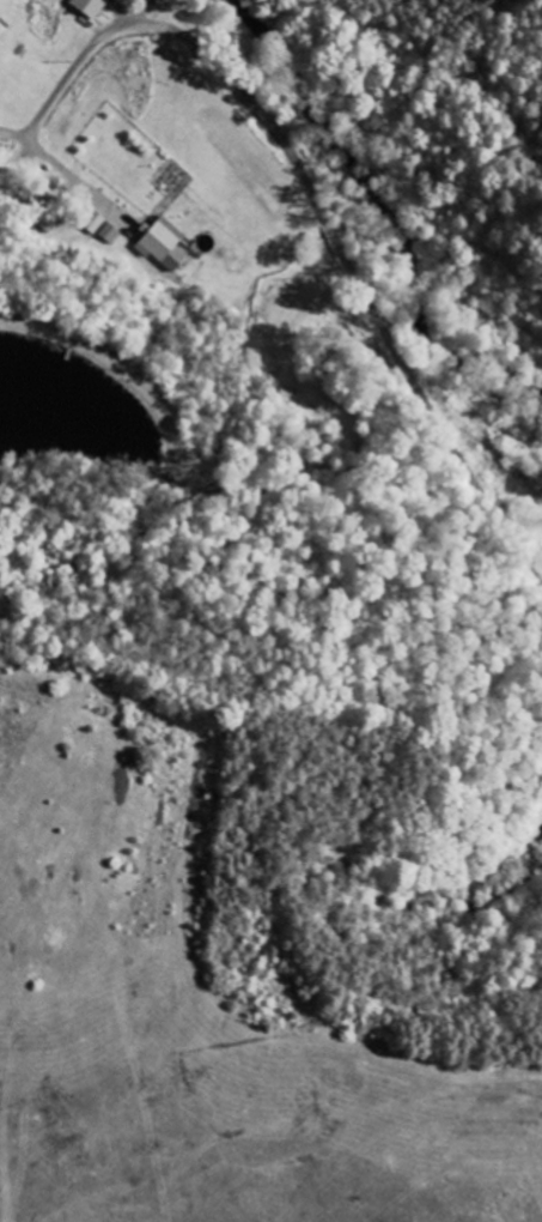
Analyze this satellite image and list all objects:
building: (91, 7)
road: (124, 13)
road: (68, 79)
building: (110, 234)
building: (166, 246)
road: (357, 280)

